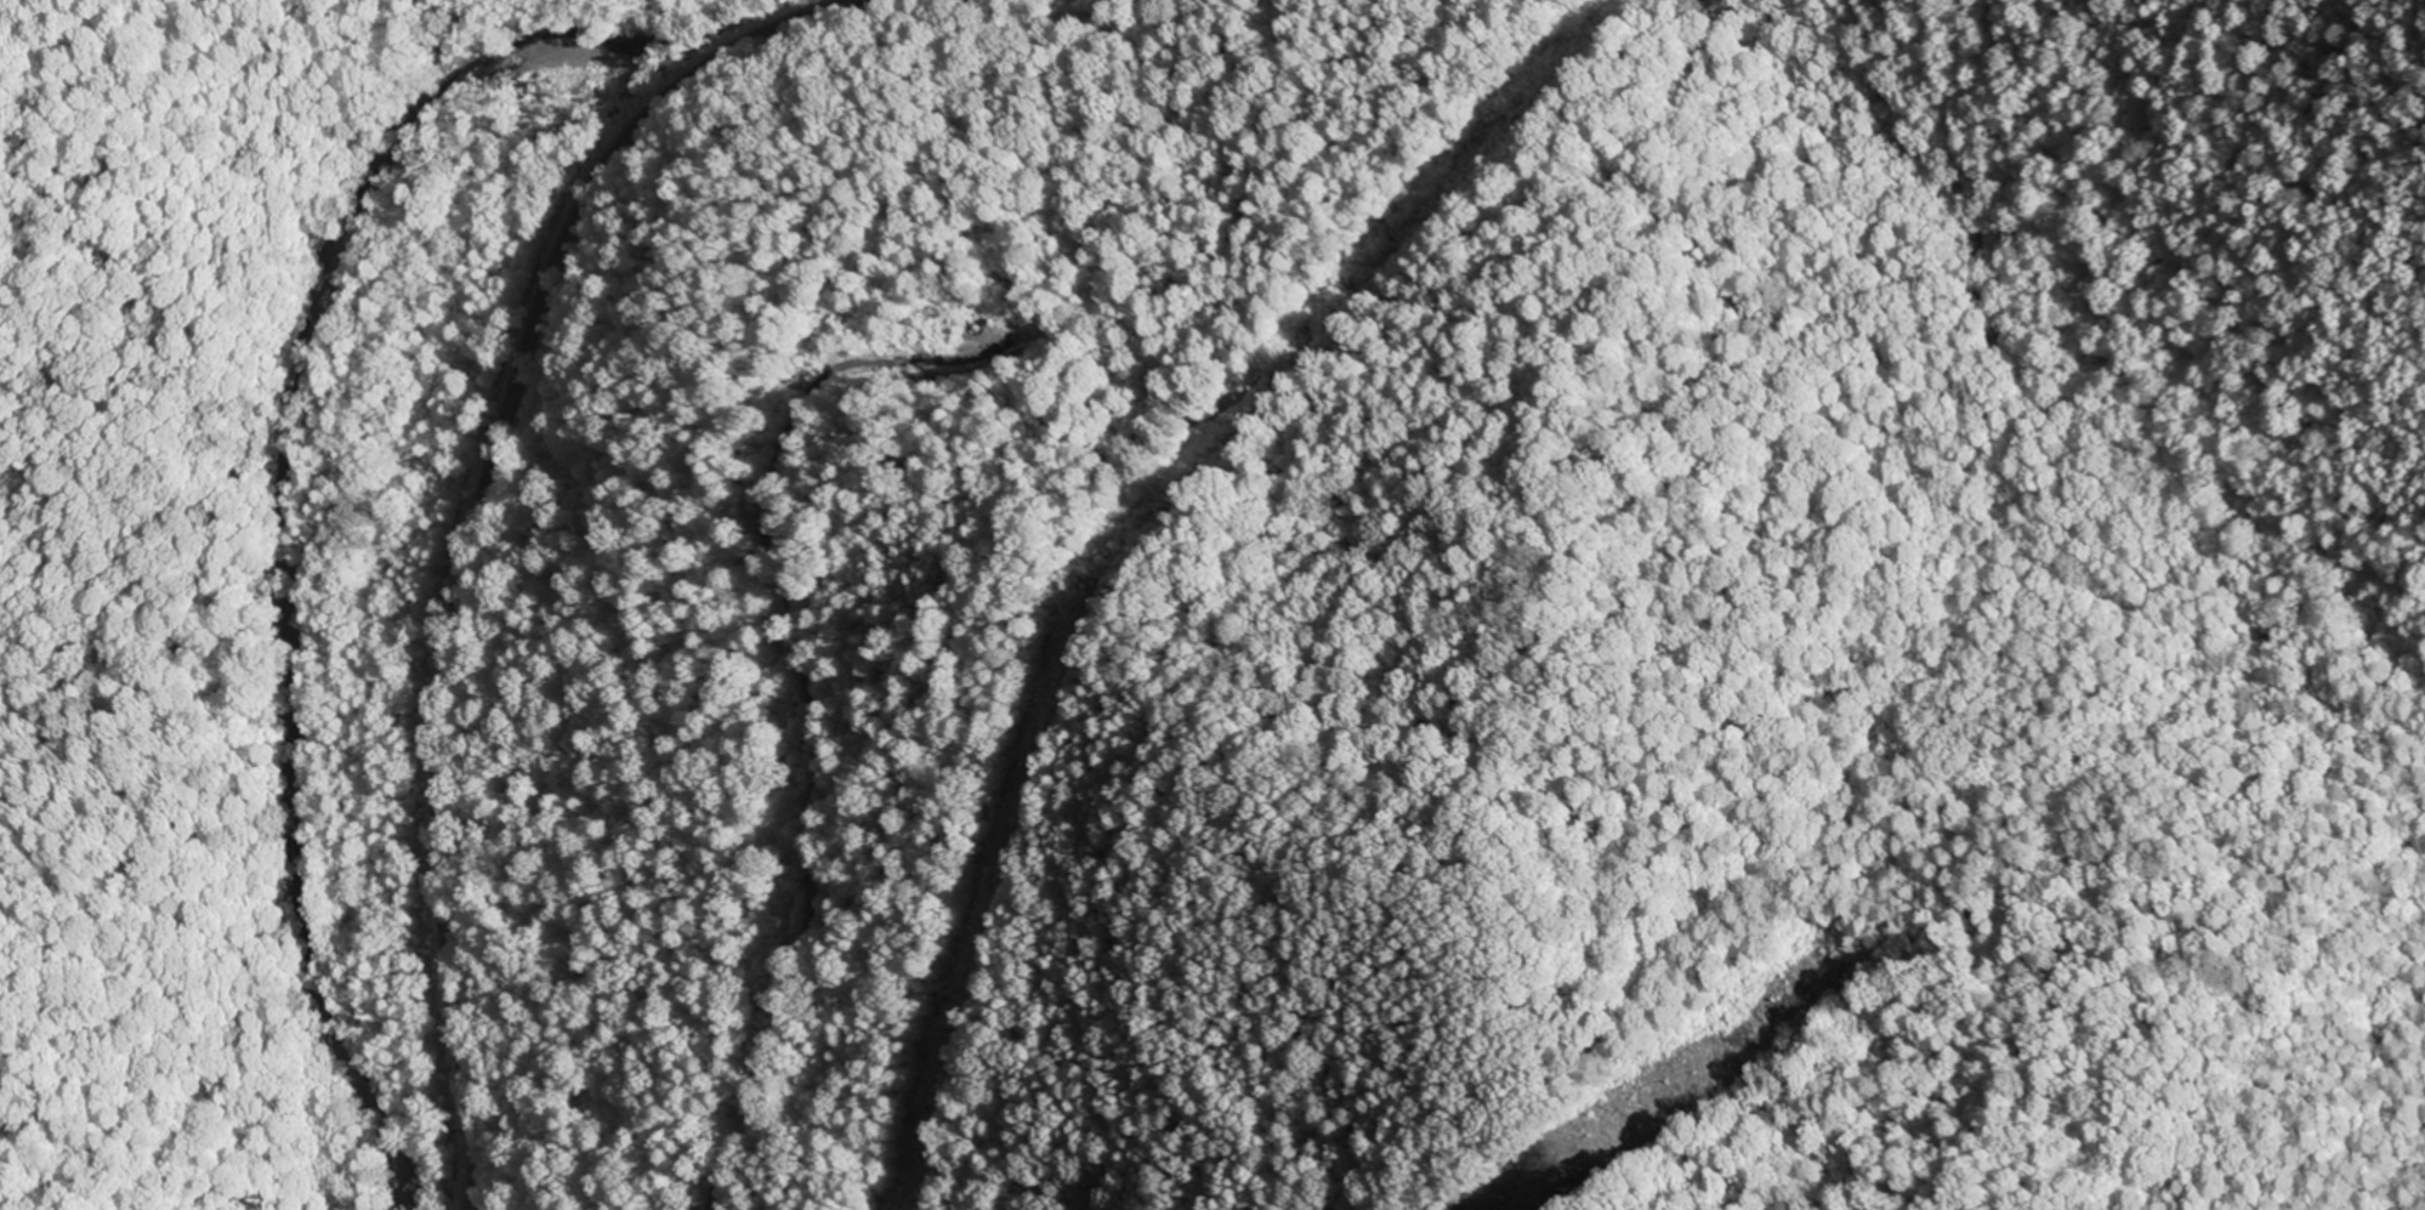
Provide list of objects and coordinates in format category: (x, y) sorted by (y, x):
road: (481, 519)

